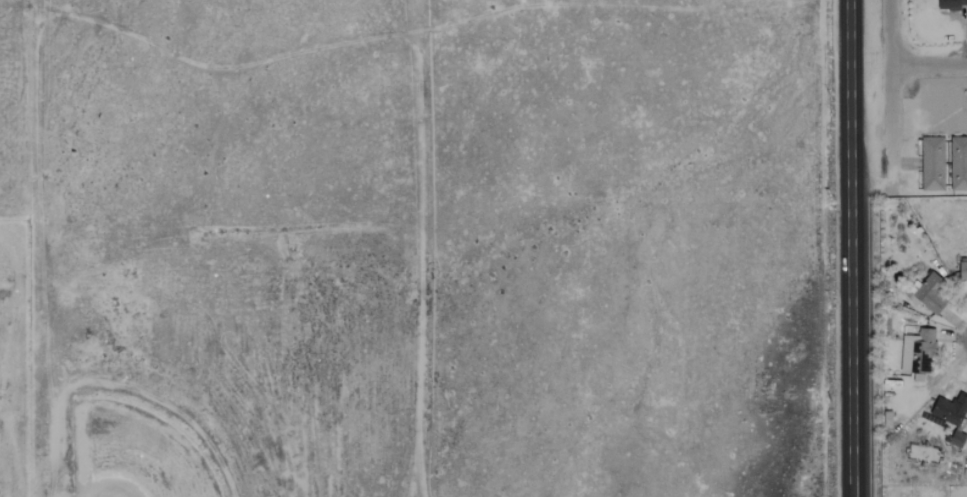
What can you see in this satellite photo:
building: (951, 4)
road: (890, 31)
road: (929, 61)
road: (846, 98)
road: (891, 114)
building: (932, 163)
building: (958, 163)
building: (963, 271)
building: (930, 293)
road: (851, 347)
building: (917, 354)
building: (950, 410)
building: (957, 439)

